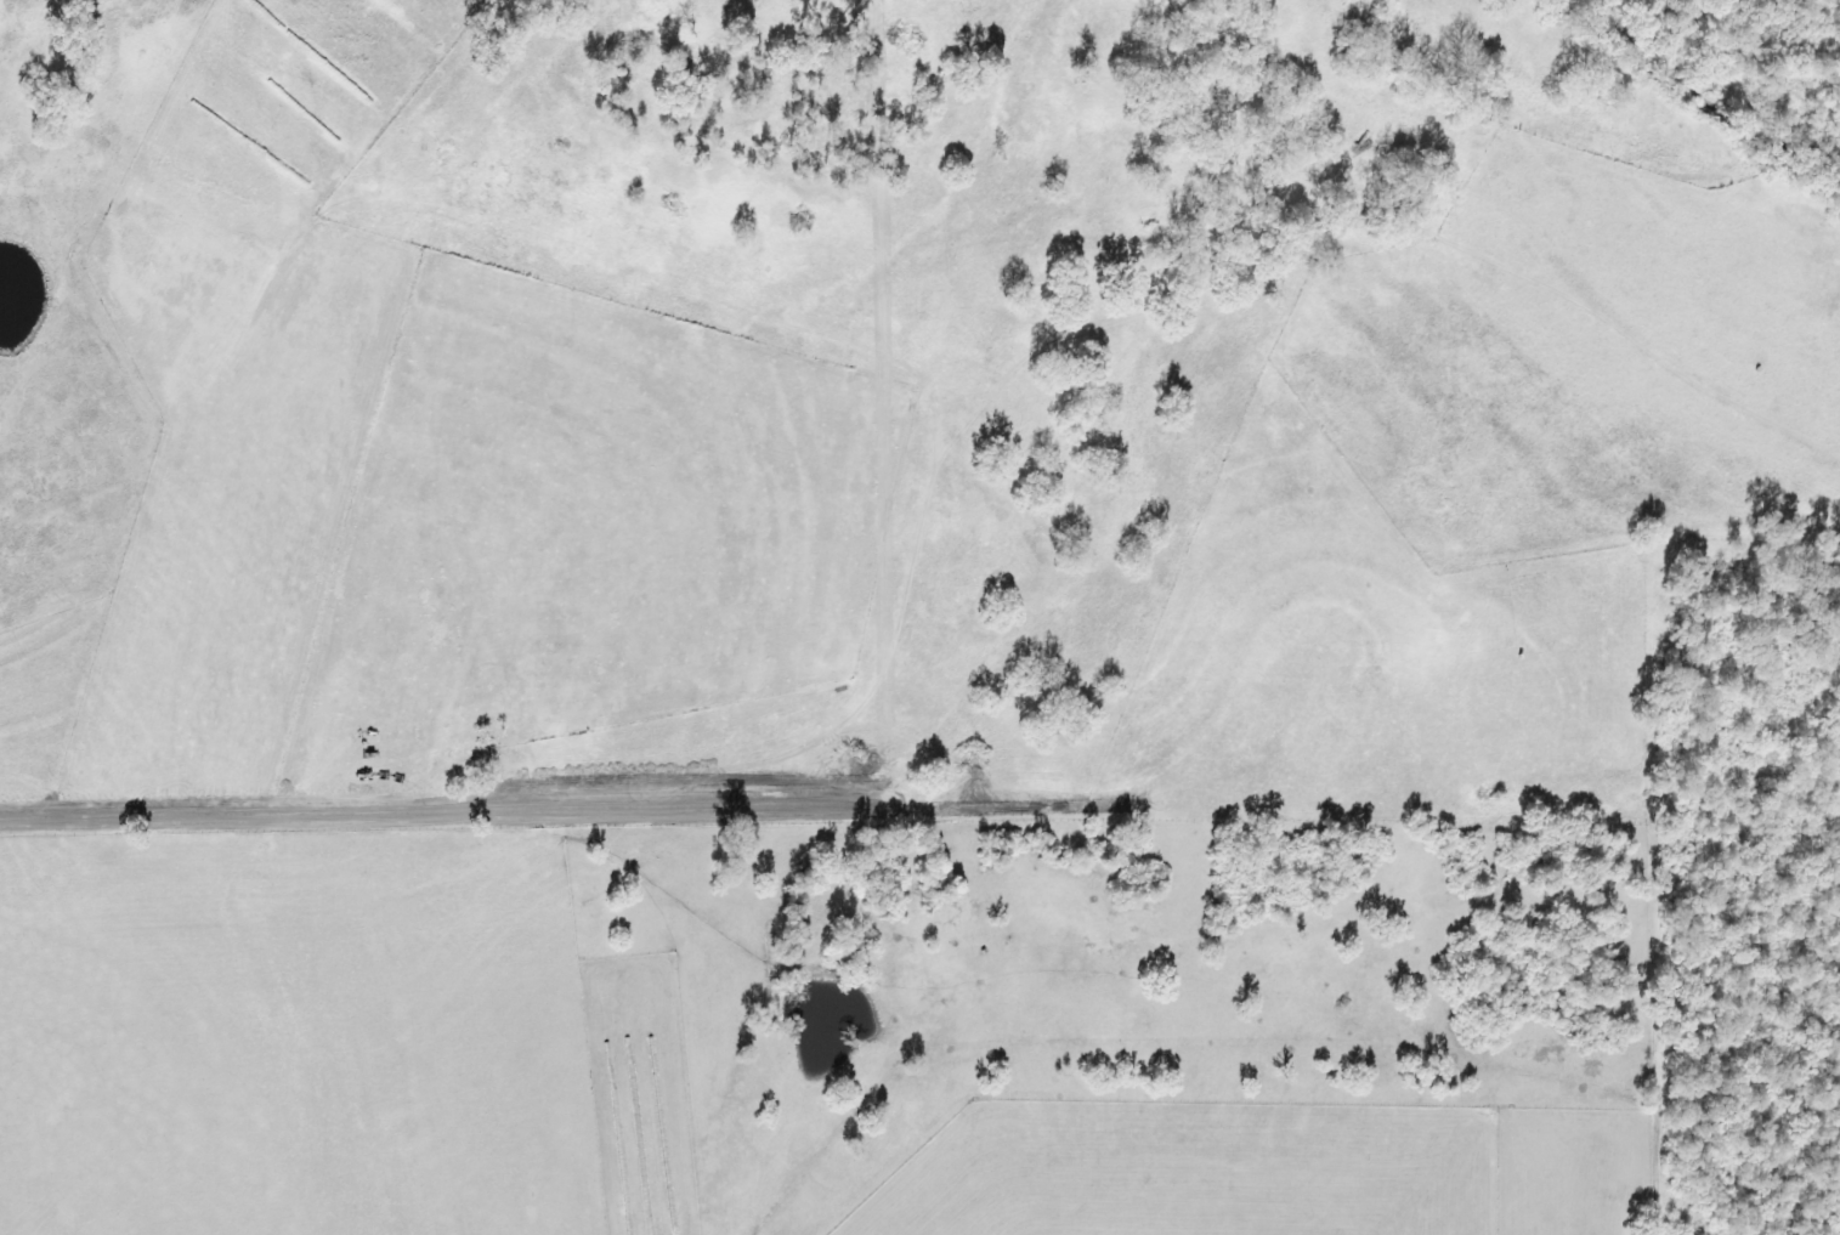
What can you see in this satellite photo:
road: (600, 775)

